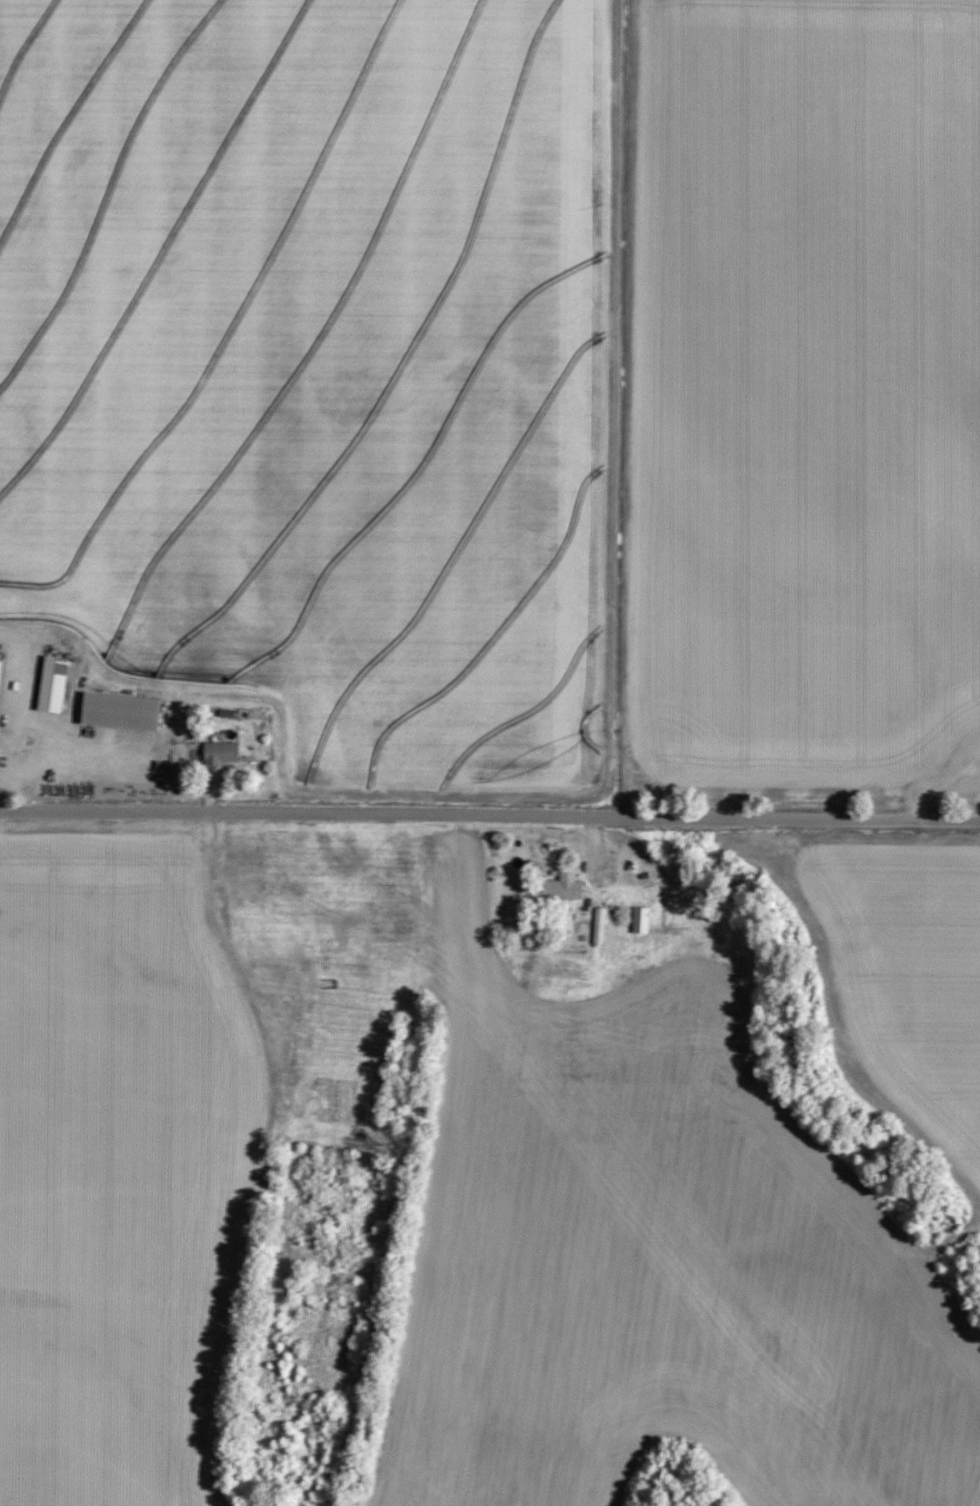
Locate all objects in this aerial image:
building: (52, 682)
building: (120, 710)
road: (15, 722)
building: (220, 752)
road: (945, 792)
road: (490, 816)
building: (239, 872)
building: (562, 887)
building: (639, 920)
building: (598, 925)
road: (268, 1149)

